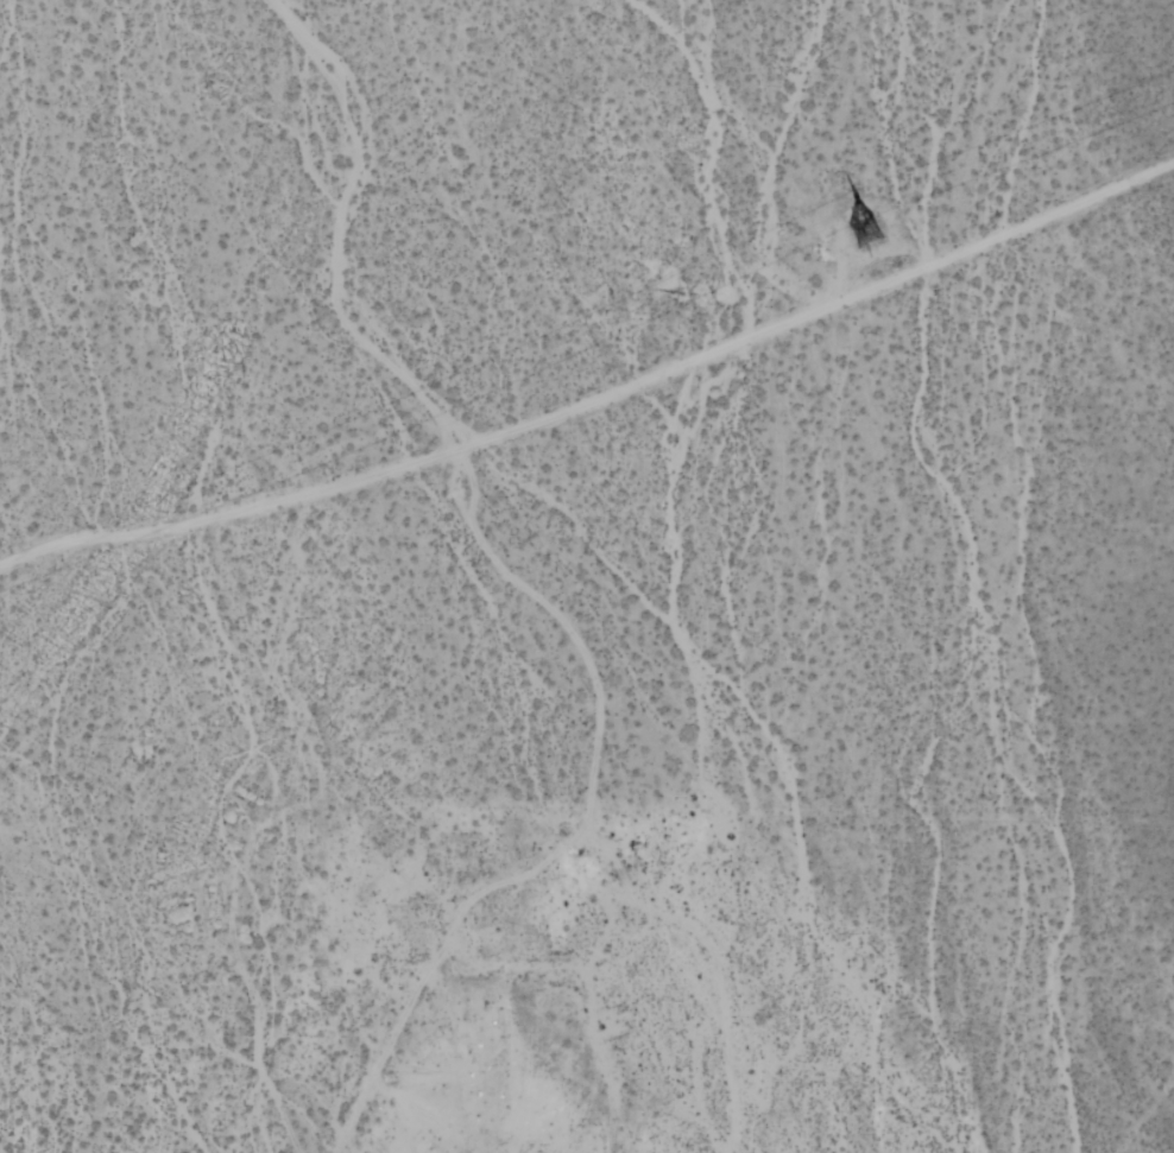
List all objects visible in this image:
power tower: (858, 239)
road: (598, 399)

